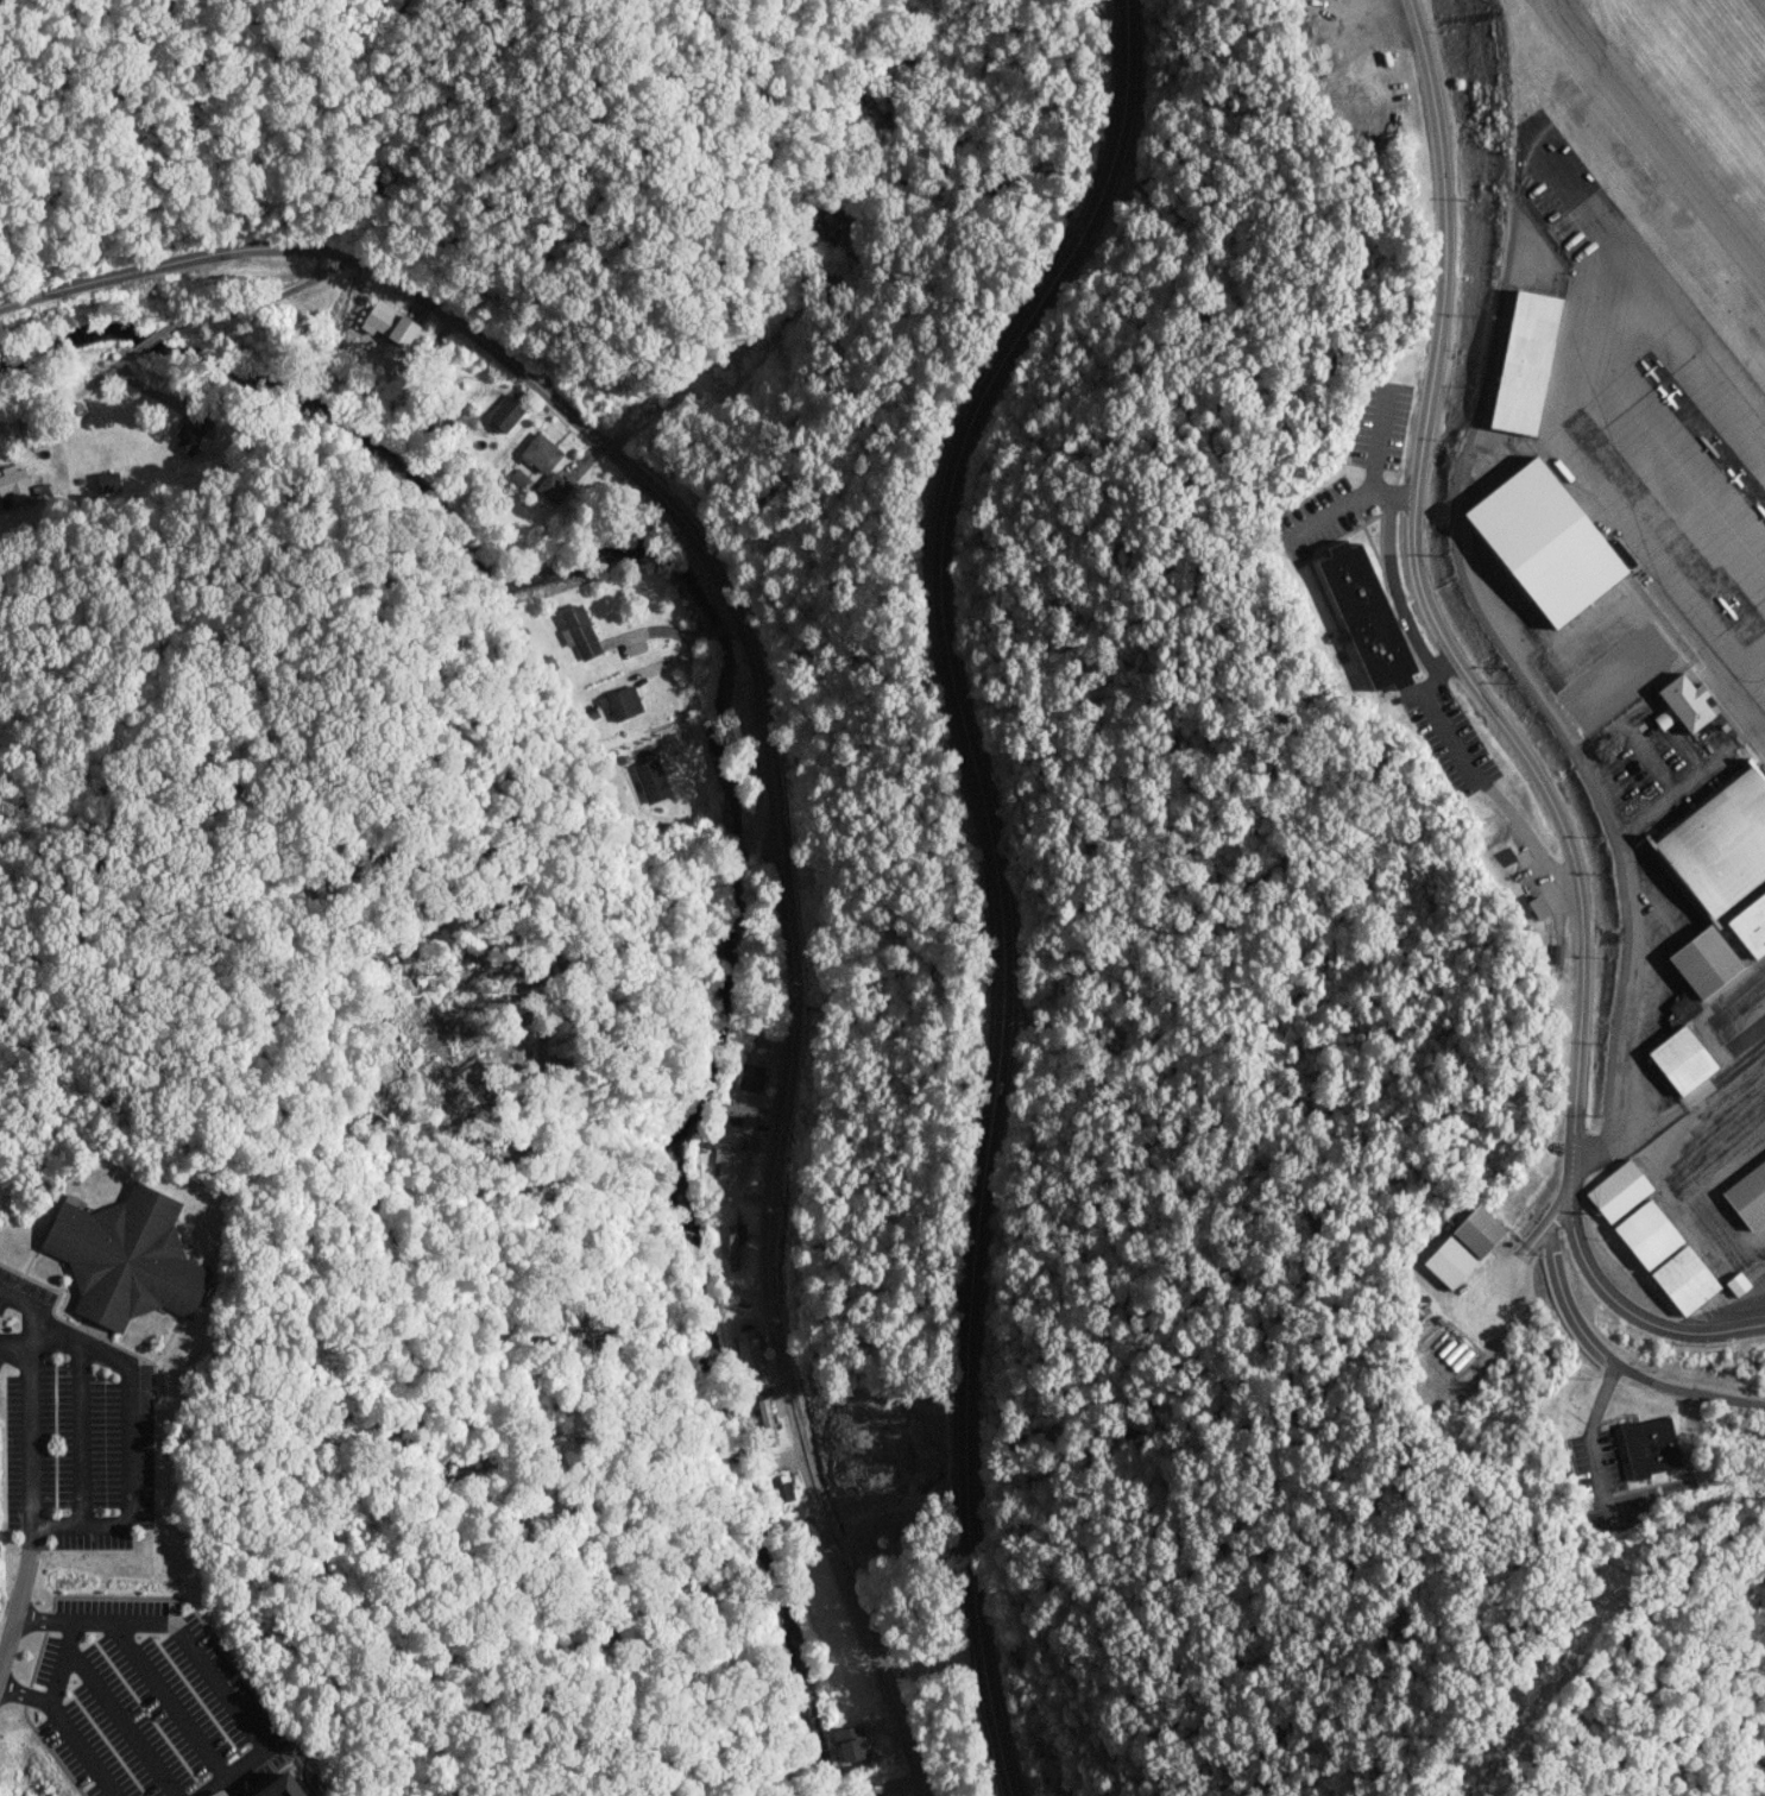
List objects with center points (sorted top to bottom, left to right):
airport: (609, 23)
airport taxiway: (1657, 136)
road: (253, 300)
building: (390, 322)
road: (144, 342)
building: (1521, 364)
road: (68, 398)
building: (504, 414)
airport apron: (1652, 426)
building: (190, 436)
building: (541, 452)
building: (518, 477)
building: (13, 479)
building: (108, 481)
building: (553, 487)
building: (1538, 546)
building: (1367, 615)
road: (1430, 615)
building: (579, 631)
building: (1631, 658)
airport terminal: (1679, 701)
building: (1679, 701)
building: (620, 702)
airport: (1565, 711)
road: (770, 767)
building: (650, 780)
river: (726, 796)
building: (1715, 844)
road: (996, 876)
building: (1538, 907)
building: (1748, 925)
building: (1704, 962)
building: (1682, 1008)
building: (1678, 1061)
building: (751, 1077)
building: (742, 1114)
building: (749, 1142)
building: (730, 1164)
building: (1616, 1191)
building: (1747, 1196)
building: (1645, 1235)
building: (1467, 1252)
building: (131, 1258)
building: (1681, 1280)
building: (1735, 1285)
road: (21, 1302)
road: (1632, 1313)
road: (31, 1341)
building: (746, 1347)
road: (13, 1351)
road: (1603, 1356)
road: (80, 1433)
building: (1649, 1445)
building: (781, 1488)
road: (126, 1524)
road: (24, 1573)
road: (32, 1621)
road: (183, 1640)
road: (6, 1641)
road: (61, 1662)
road: (25, 1696)
road: (170, 1702)
road: (119, 1722)
building: (850, 1741)
road: (84, 1750)
road: (237, 1775)
building: (280, 1786)
building: (221, 1794)

